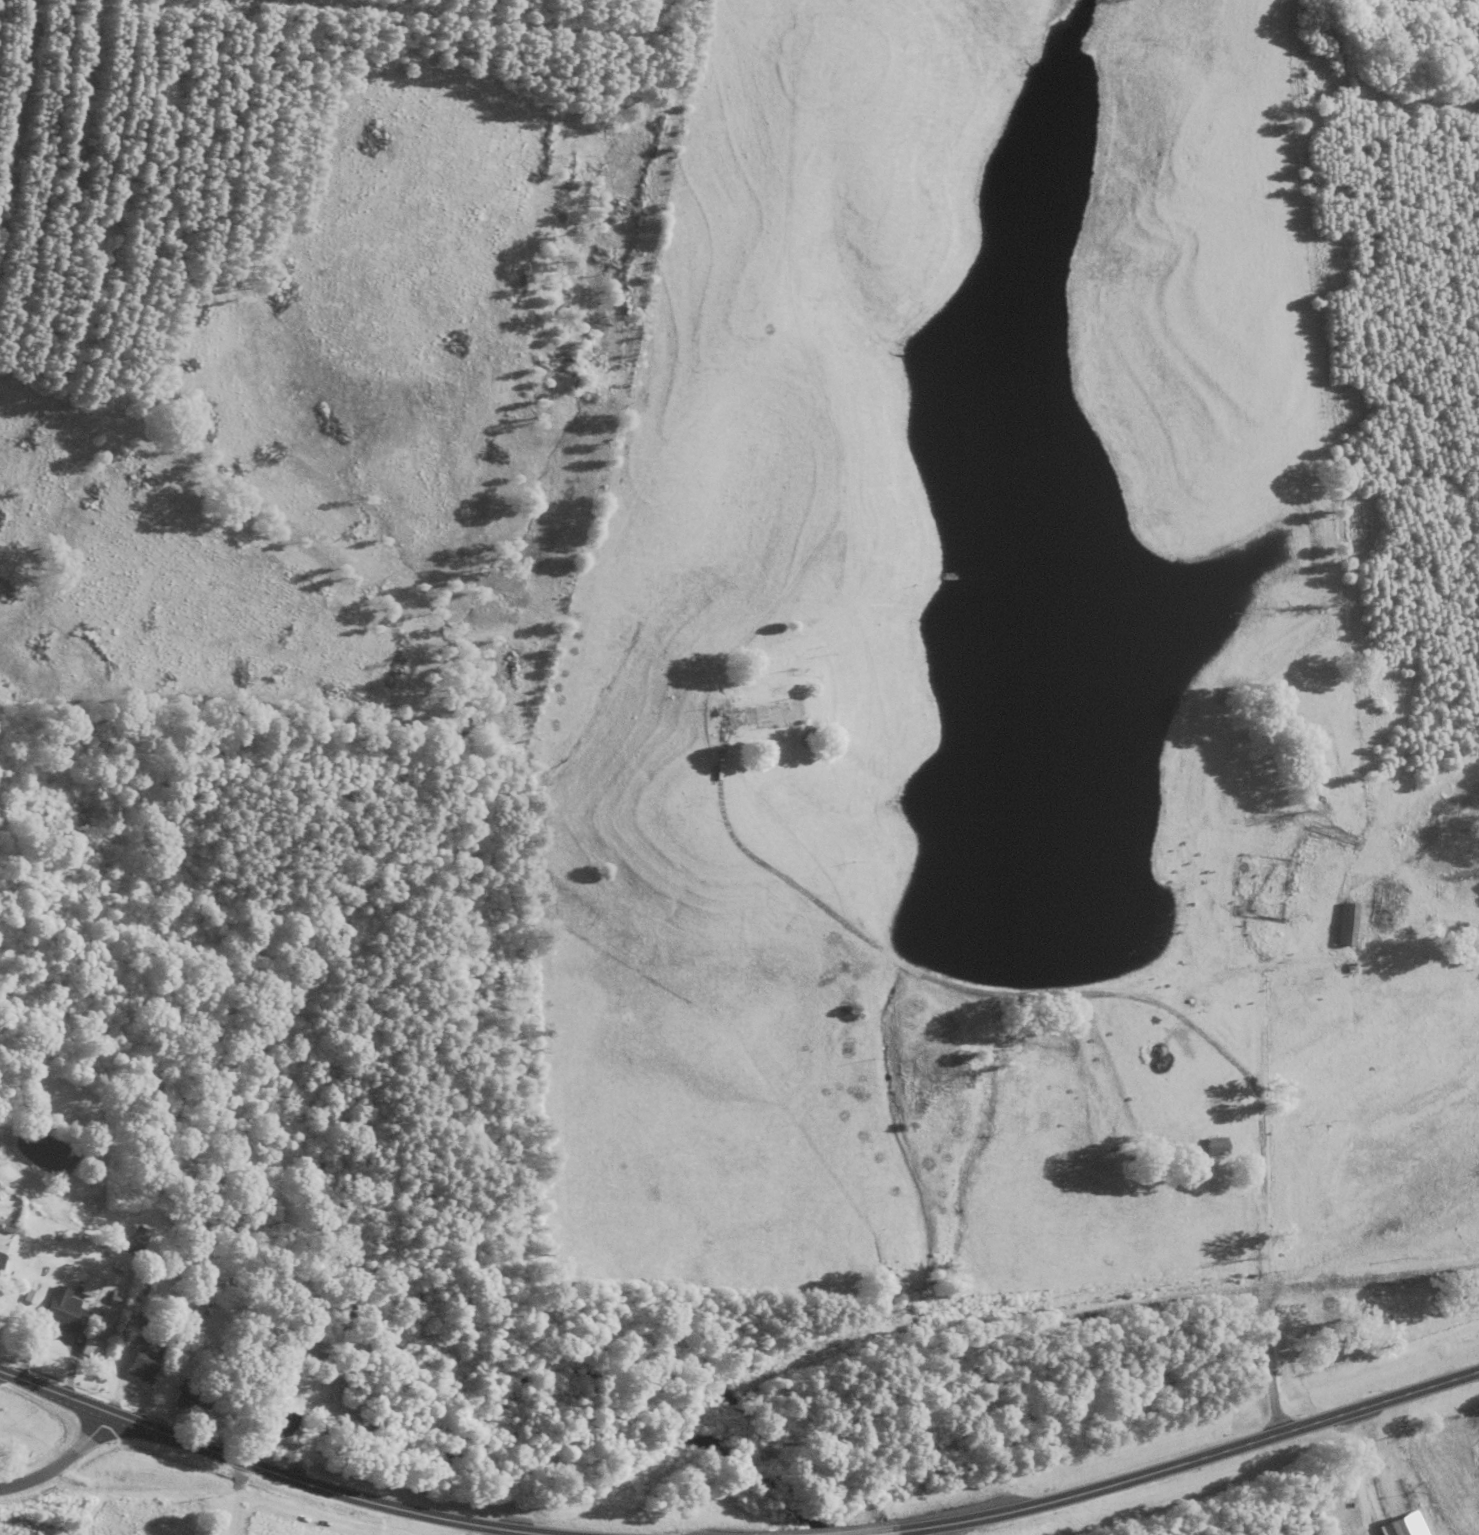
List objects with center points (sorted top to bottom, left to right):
building: (765, 711)
road: (1314, 919)
dam: (921, 972)
road: (1104, 993)
building: (1217, 1145)
building: (0, 1218)
building: (7, 1223)
building: (138, 1239)
river: (237, 1239)
building: (2, 1258)
building: (119, 1264)
road: (1372, 1279)
building: (87, 1288)
building: (30, 1295)
building: (113, 1299)
building: (66, 1309)
building: (104, 1320)
road: (57, 1334)
building: (91, 1346)
building: (145, 1356)
road: (132, 1385)
building: (192, 1393)
building: (288, 1420)
road: (61, 1460)
road: (1190, 1461)
road: (1361, 1472)
road: (278, 1474)
road: (88, 1479)
crop: (286, 1521)
building: (1406, 1525)
road: (490, 1530)
road: (880, 1533)

